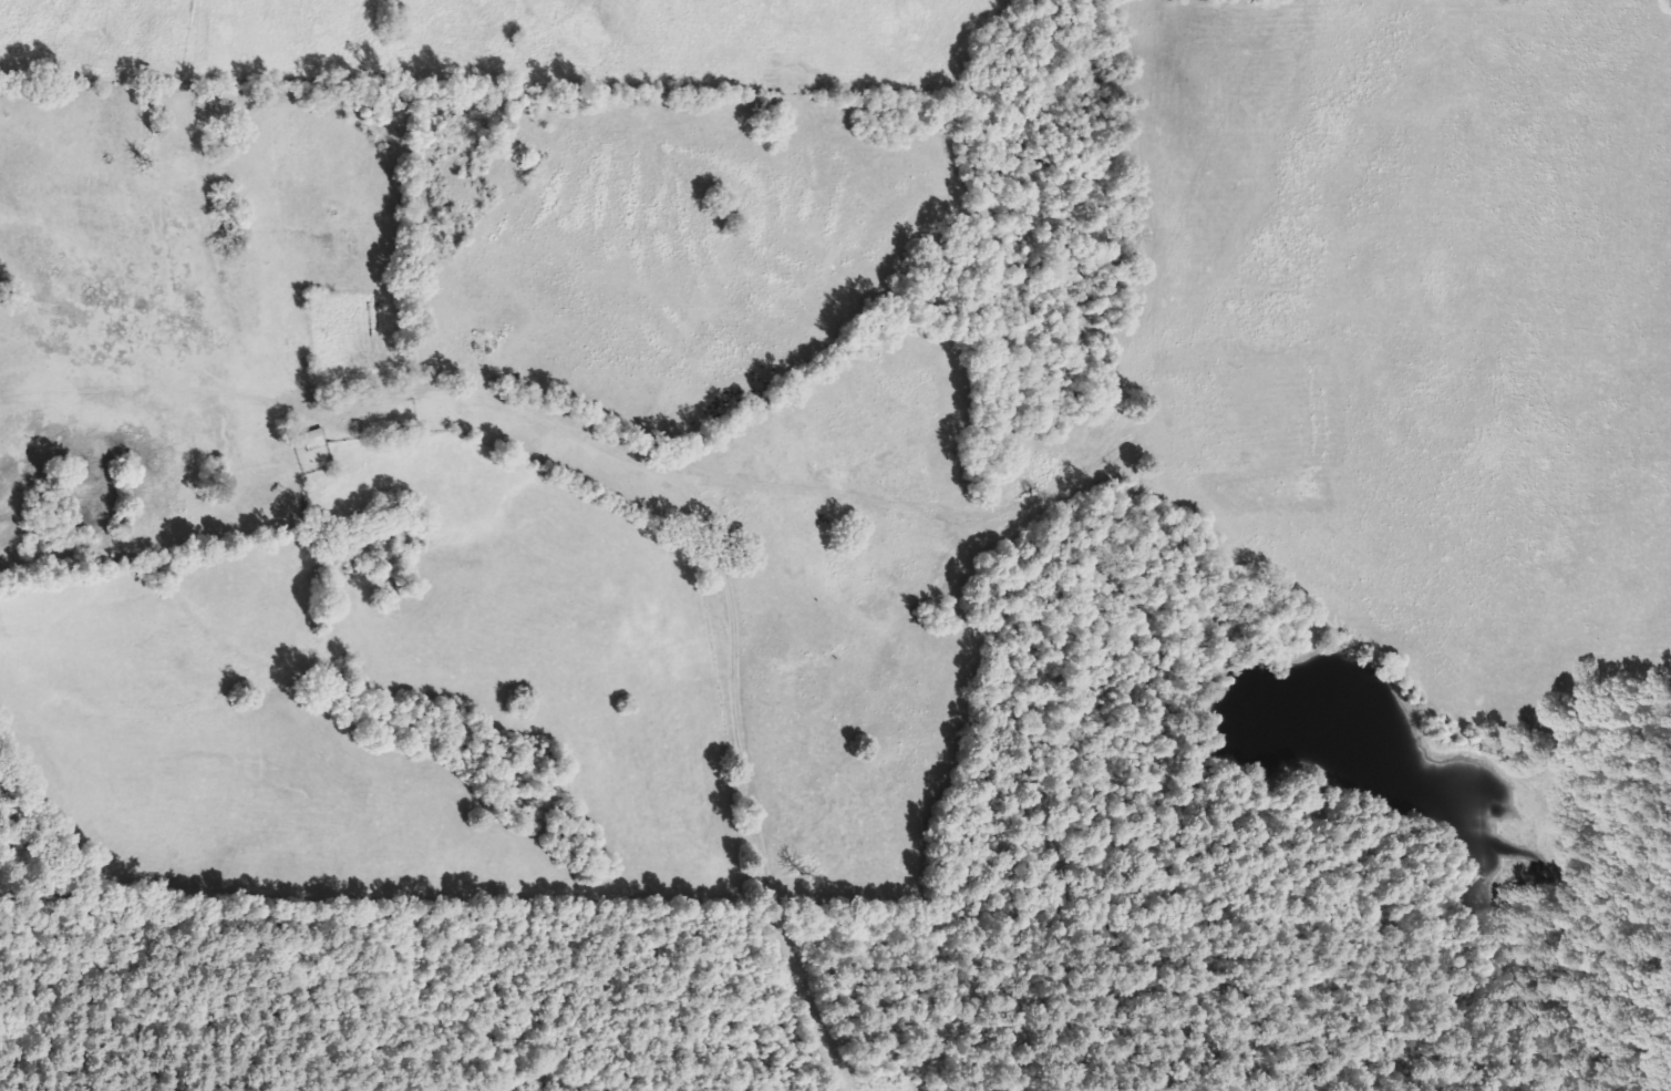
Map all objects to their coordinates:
road: (602, 432)

